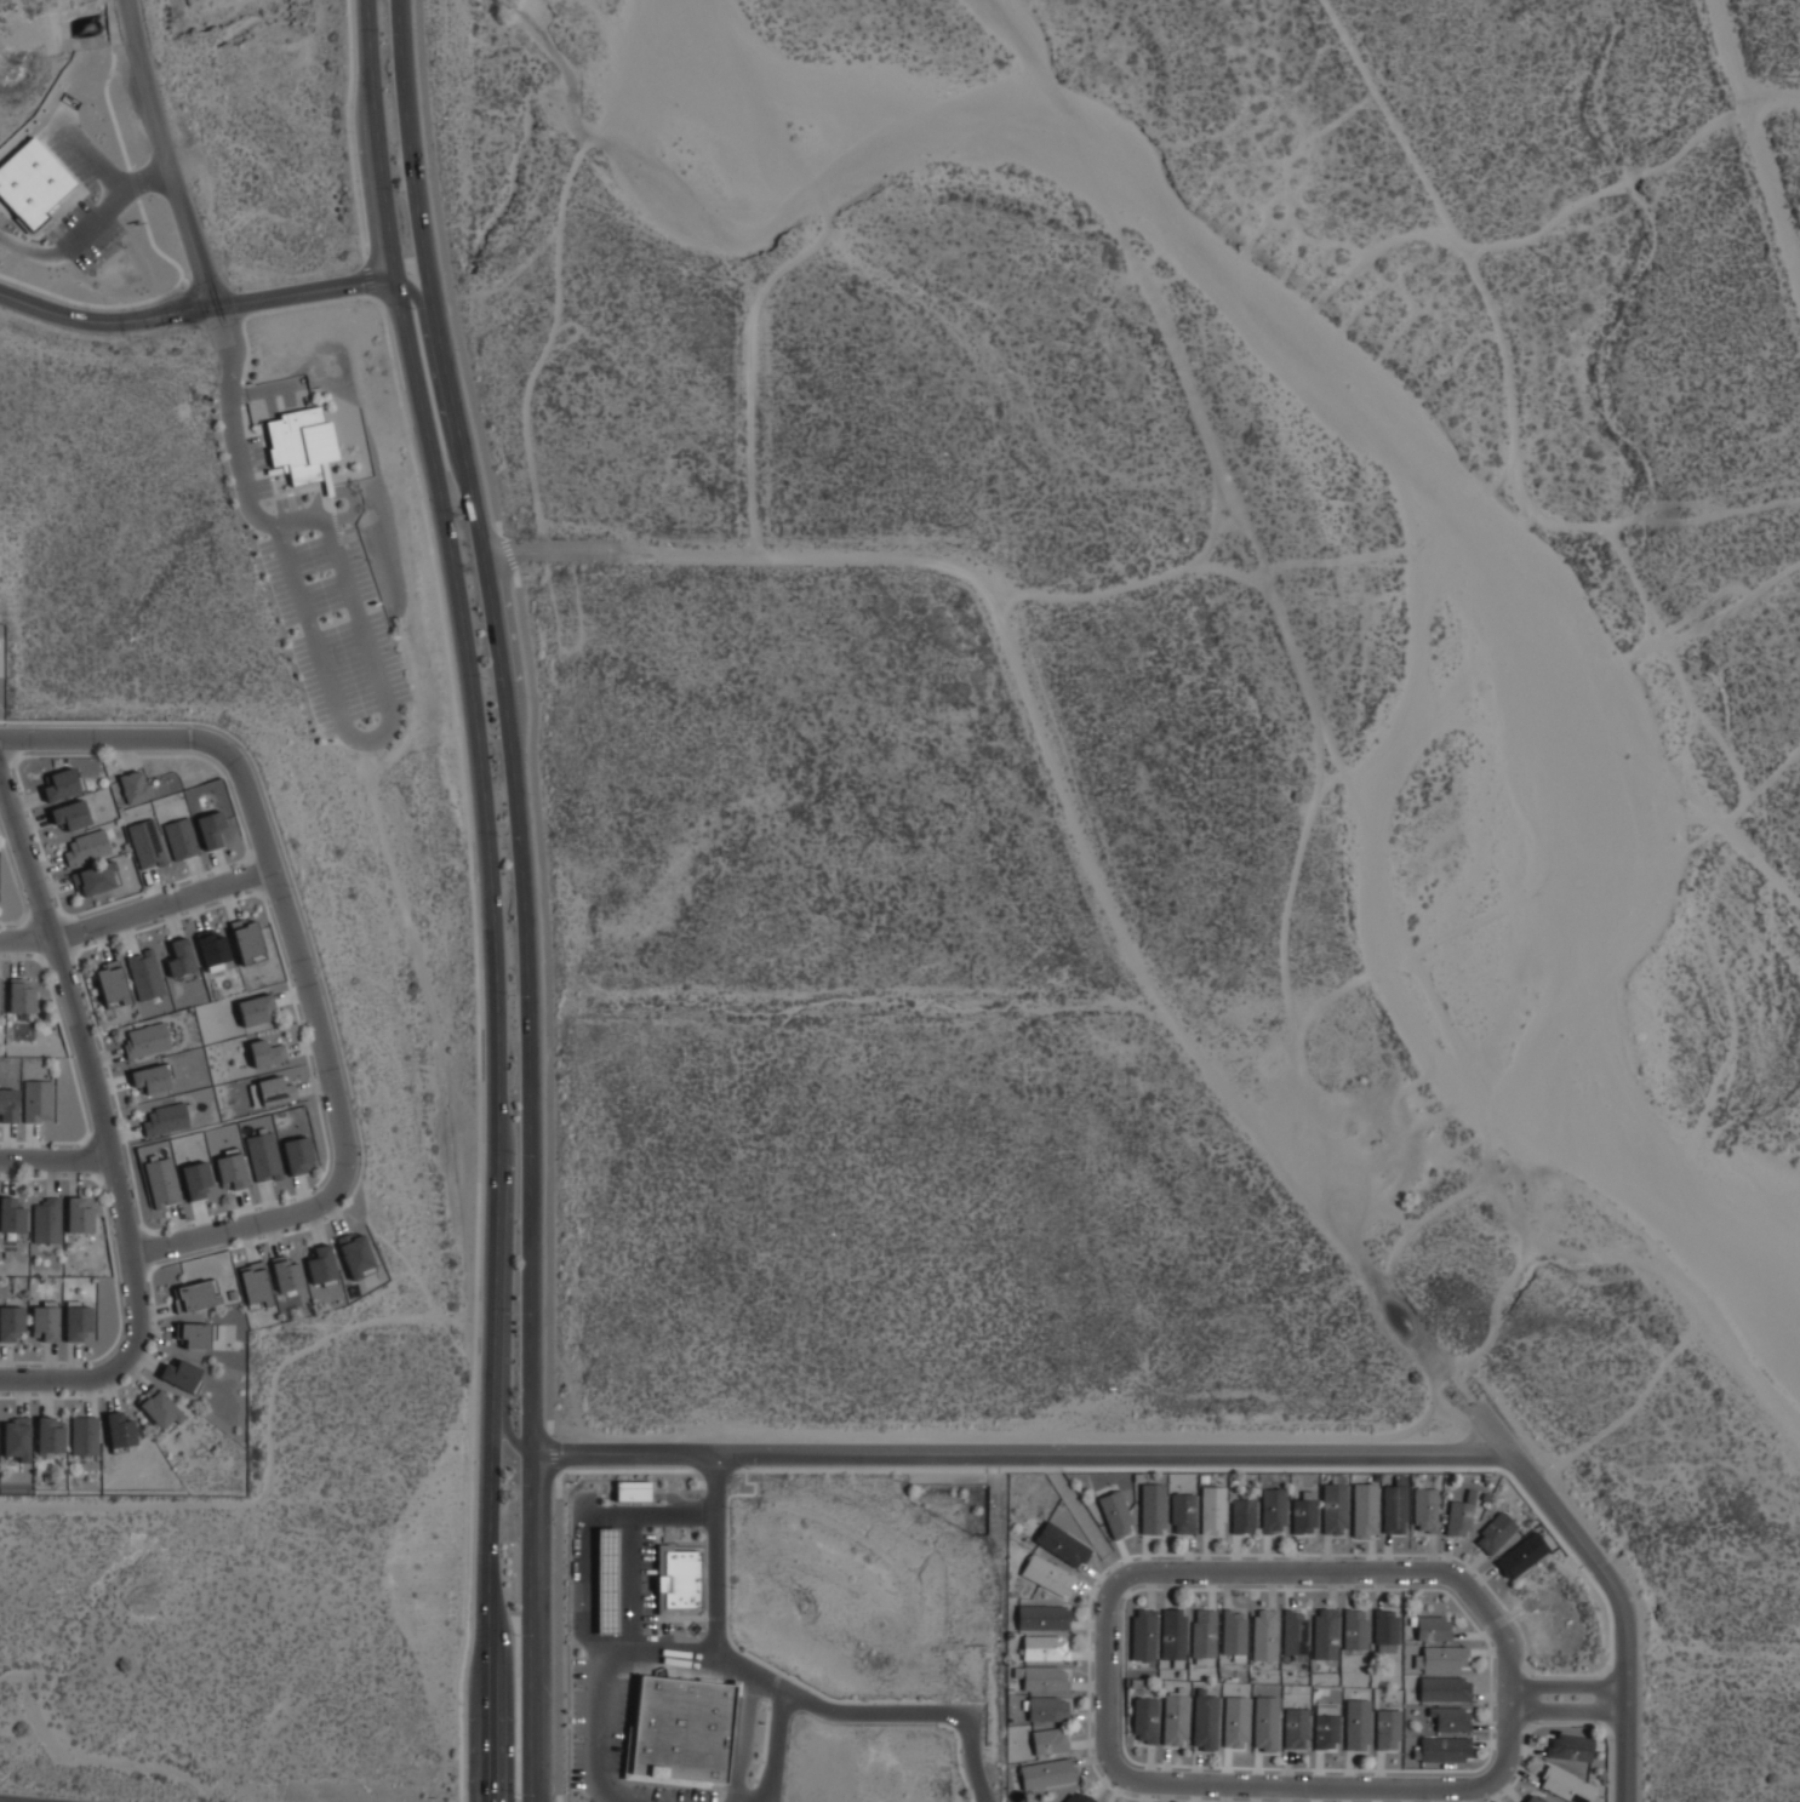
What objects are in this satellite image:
road: (166, 154)
building: (33, 182)
road: (1748, 183)
road: (421, 301)
road: (195, 310)
road: (752, 396)
building: (299, 441)
road: (235, 446)
river: (1417, 464)
road: (547, 555)
building: (62, 783)
building: (133, 783)
building: (69, 814)
building: (210, 829)
building: (179, 836)
building: (144, 841)
building: (85, 846)
road: (1087, 851)
building: (95, 877)
road: (491, 896)
road: (522, 896)
road: (136, 913)
building: (247, 940)
building: (213, 946)
building: (179, 956)
road: (298, 961)
building: (144, 973)
building: (112, 983)
building: (19, 994)
building: (256, 1008)
building: (144, 1039)
building: (265, 1051)
building: (152, 1077)
building: (274, 1088)
building: (36, 1099)
building: (8, 1104)
building: (165, 1117)
road: (107, 1129)
building: (297, 1154)
building: (262, 1155)
road: (57, 1159)
building: (230, 1168)
building: (196, 1179)
building: (161, 1180)
building: (11, 1214)
building: (78, 1215)
building: (45, 1219)
building: (355, 1254)
building: (321, 1263)
building: (286, 1272)
building: (255, 1283)
building: (194, 1293)
building: (45, 1320)
building: (76, 1321)
building: (11, 1322)
building: (196, 1334)
building: (182, 1373)
road: (503, 1402)
building: (159, 1407)
building: (120, 1430)
building: (48, 1435)
building: (84, 1436)
building: (16, 1440)
road: (1022, 1453)
building: (632, 1489)
building: (1394, 1505)
building: (1150, 1508)
building: (1333, 1508)
building: (1427, 1508)
building: (1212, 1509)
building: (1364, 1509)
building: (1273, 1510)
road: (682, 1512)
building: (1182, 1512)
building: (1115, 1514)
building: (1241, 1516)
building: (1303, 1516)
building: (1457, 1516)
building: (1495, 1533)
building: (1061, 1543)
building: (1521, 1554)
building: (1046, 1573)
building: (678, 1577)
road: (1607, 1579)
building: (606, 1580)
road: (650, 1580)
road: (716, 1606)
building: (1042, 1615)
building: (1354, 1627)
building: (1432, 1627)
building: (1384, 1629)
building: (1235, 1631)
building: (1295, 1631)
building: (1204, 1632)
building: (1324, 1632)
building: (1143, 1634)
building: (1172, 1634)
building: (1264, 1634)
building: (1045, 1647)
building: (1444, 1657)
building: (1040, 1677)
road: (1561, 1684)
building: (1442, 1687)
building: (1047, 1707)
road: (1561, 1709)
road: (874, 1712)
building: (1173, 1718)
building: (1450, 1718)
building: (1143, 1720)
building: (1205, 1721)
building: (1234, 1721)
building: (1356, 1722)
building: (1265, 1723)
road: (601, 1726)
building: (1326, 1726)
building: (1295, 1727)
building: (1385, 1728)
building: (678, 1731)
building: (1050, 1740)
road: (779, 1745)
building: (1568, 1745)
building: (1444, 1747)
building: (1046, 1772)
road: (1145, 1779)
building: (1565, 1784)
building: (1078, 1796)
building: (1533, 1797)
road: (983, 1798)

